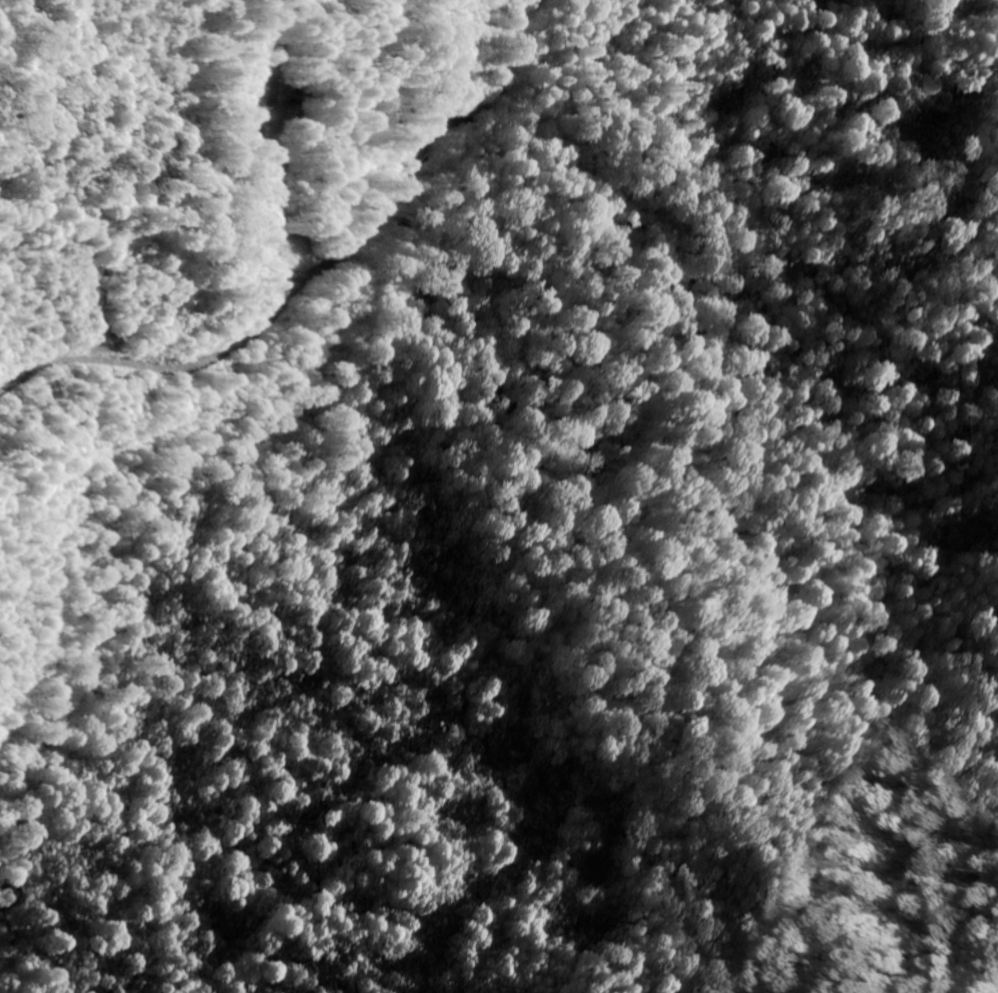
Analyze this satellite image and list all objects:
building: (900, 694)

